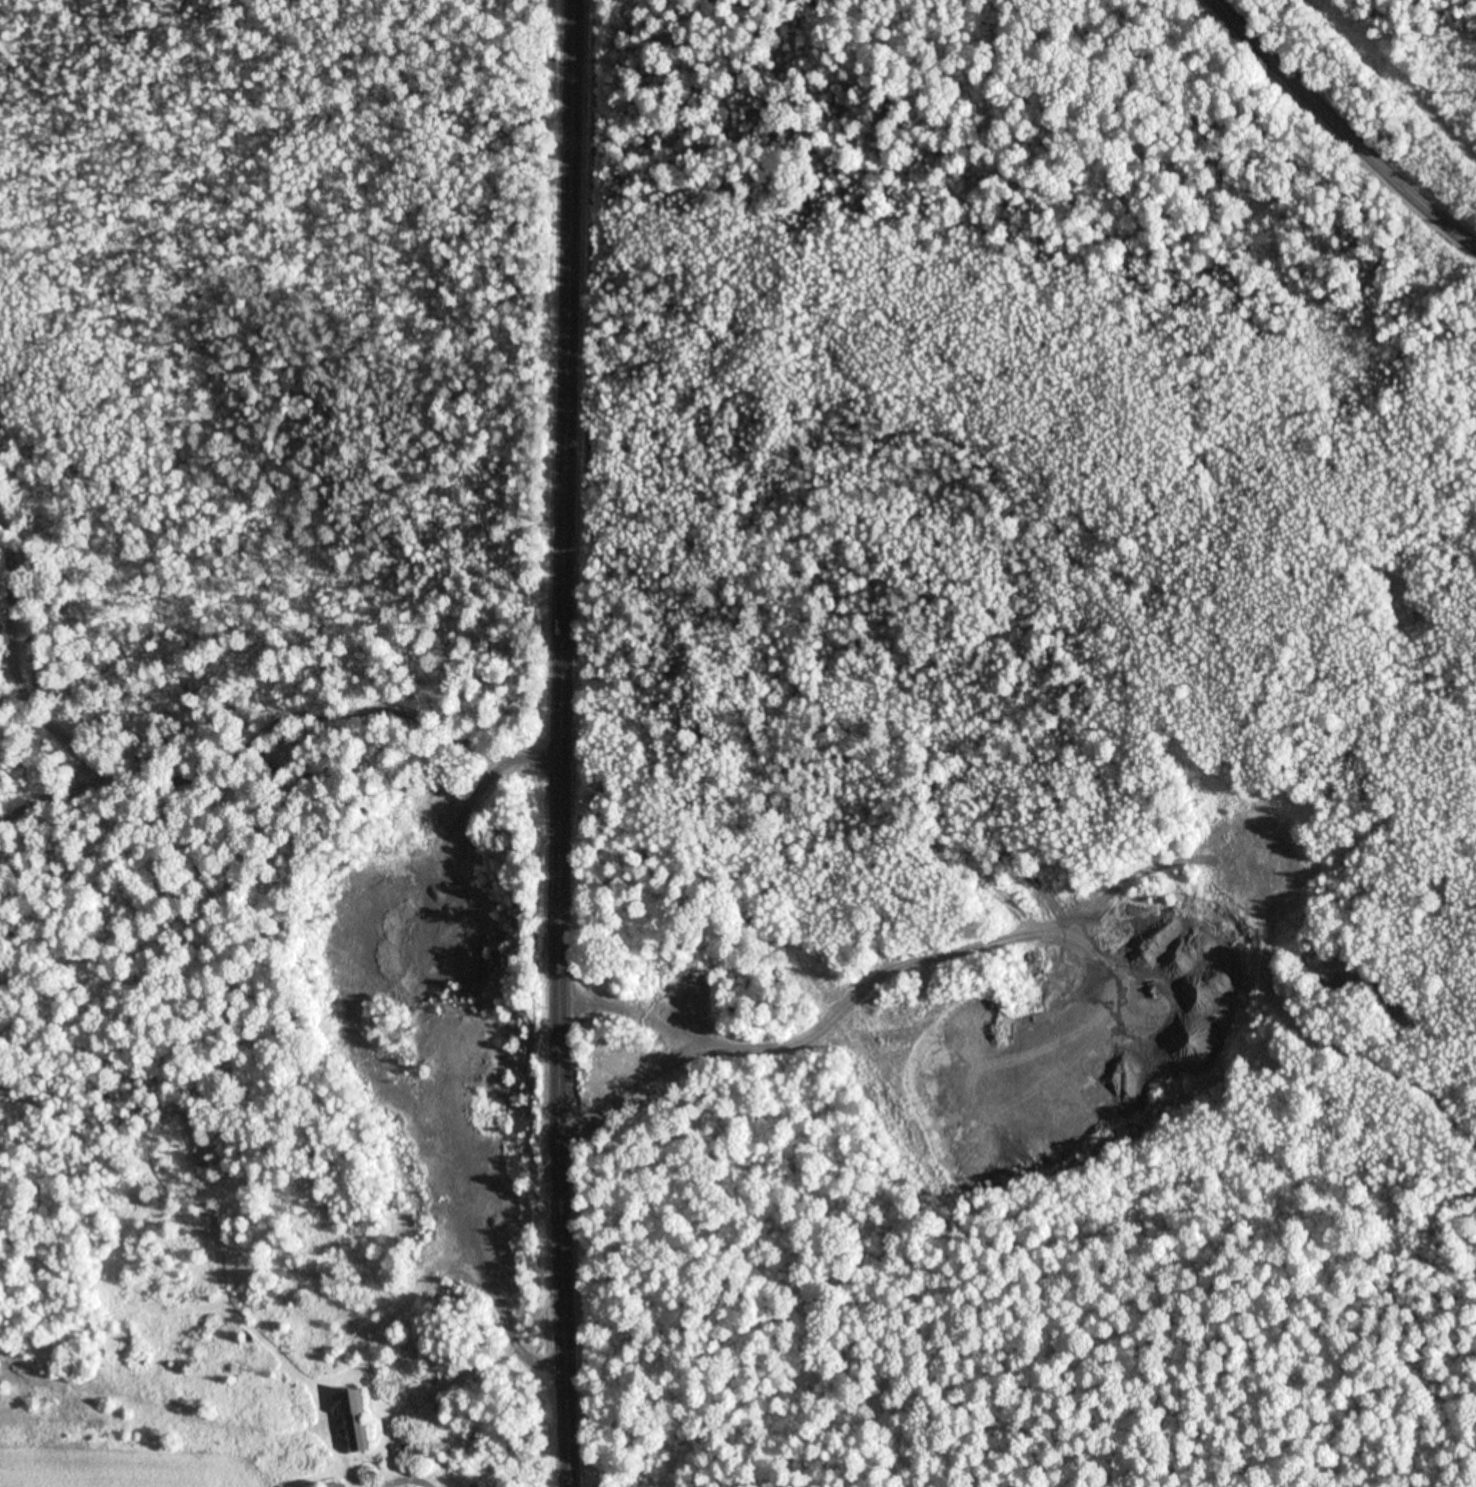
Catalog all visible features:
road: (1349, 122)
road: (578, 743)
building: (360, 1422)

